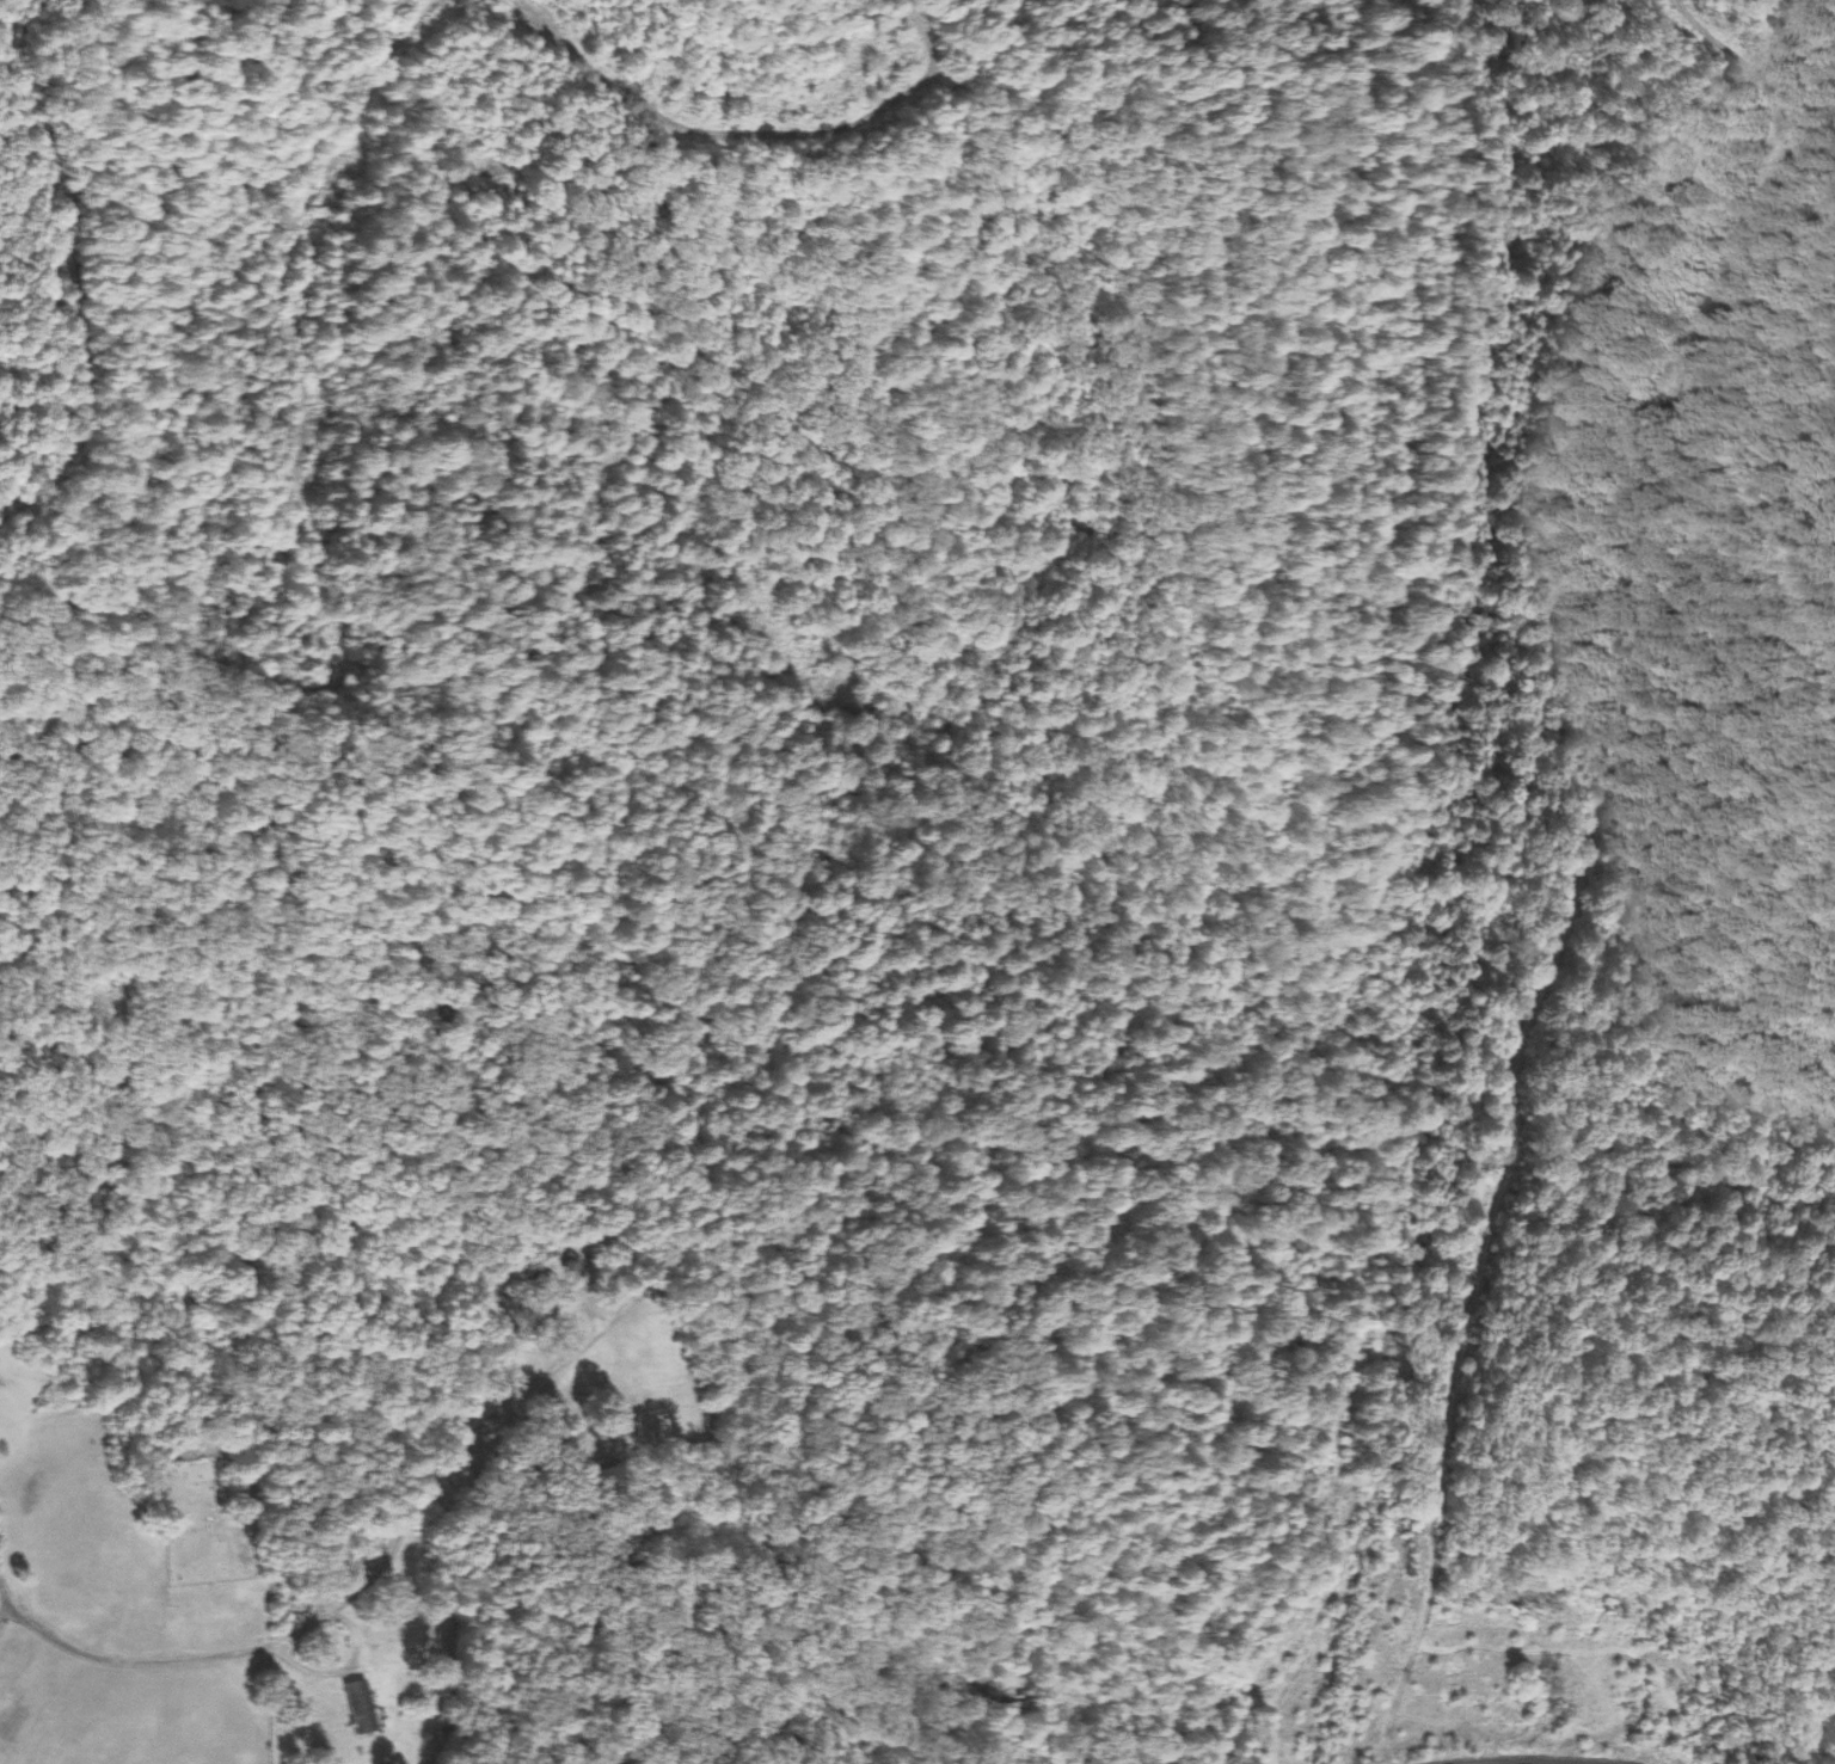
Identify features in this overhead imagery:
road: (357, 1590)
building: (362, 1708)
railway: (1521, 1763)

